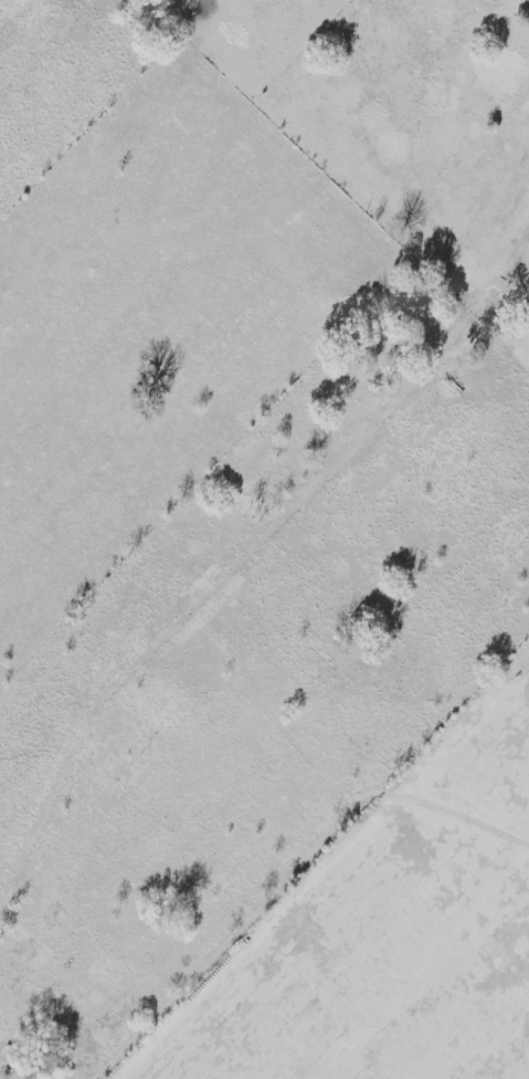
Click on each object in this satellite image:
road: (320, 859)

